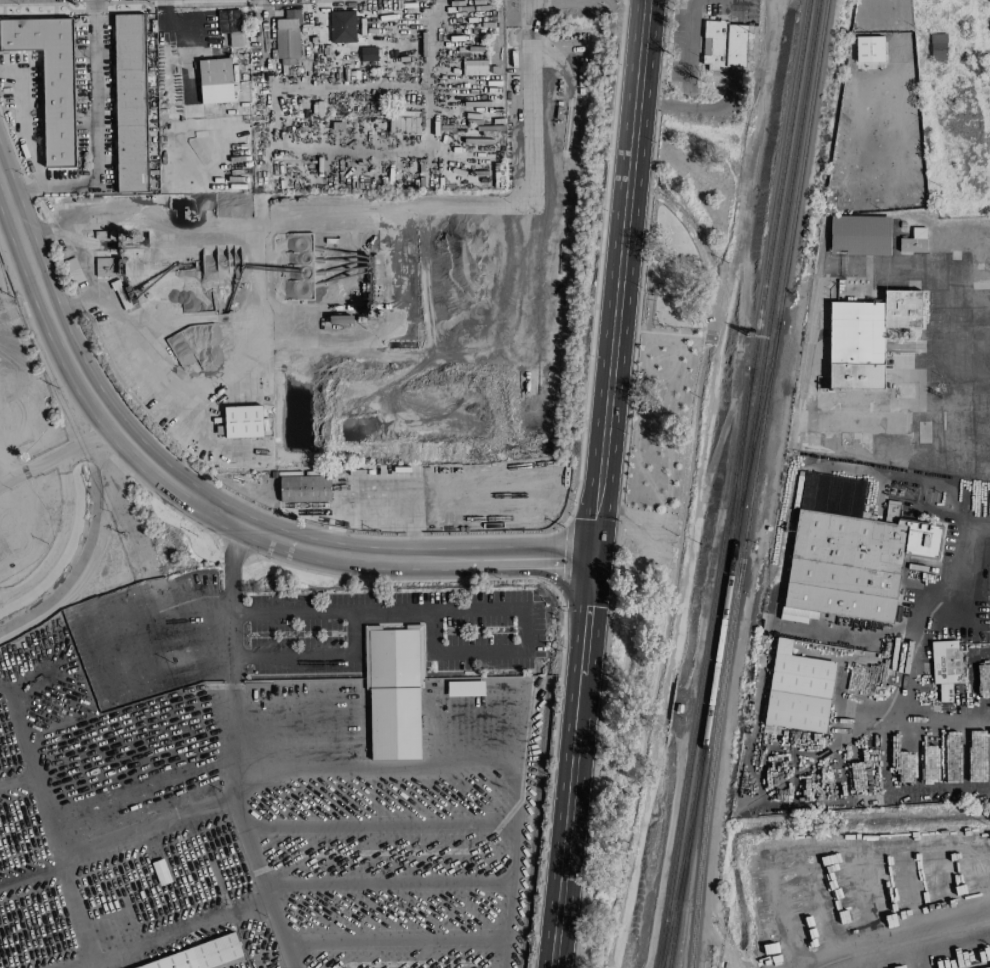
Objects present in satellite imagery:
building: (230, 26)
building: (341, 27)
road: (529, 37)
building: (287, 39)
building: (723, 46)
building: (937, 47)
building: (869, 49)
road: (641, 50)
road: (688, 53)
building: (368, 54)
building: (474, 67)
building: (49, 80)
building: (215, 81)
building: (129, 103)
road: (660, 104)
road: (719, 107)
road: (18, 121)
road: (97, 140)
road: (351, 152)
railway: (780, 185)
building: (859, 236)
road: (79, 242)
building: (913, 242)
railway: (778, 253)
railway: (788, 253)
building: (104, 267)
building: (72, 271)
road: (953, 298)
road: (615, 328)
road: (138, 337)
building: (866, 337)
road: (82, 380)
building: (242, 422)
road: (911, 428)
wastewater plant: (27, 446)
road: (77, 447)
road: (110, 474)
road: (19, 475)
road: (2, 481)
building: (306, 491)
building: (891, 512)
road: (948, 512)
railway: (731, 528)
road: (269, 536)
building: (847, 554)
road: (396, 558)
road: (546, 558)
road: (70, 590)
road: (589, 594)
railway: (725, 596)
road: (972, 607)
road: (466, 609)
road: (231, 641)
road: (978, 649)
road: (582, 666)
building: (944, 668)
railway: (705, 669)
building: (465, 689)
road: (969, 690)
building: (393, 691)
building: (797, 691)
railway: (707, 717)
road: (932, 736)
road: (827, 740)
road: (493, 759)
road: (938, 789)
road: (90, 811)
road: (566, 835)
railway: (681, 858)
railway: (685, 858)
road: (262, 867)
building: (160, 872)
road: (937, 925)
railway: (904, 942)
building: (201, 955)
building: (989, 967)

